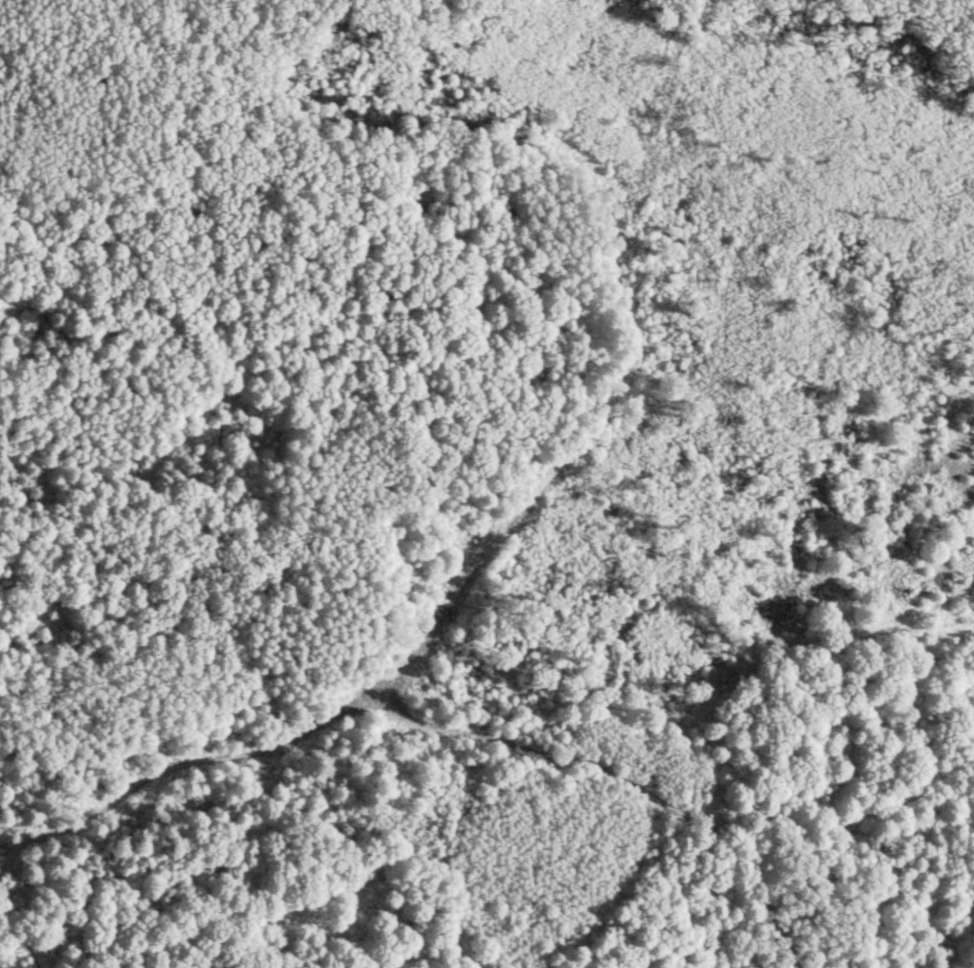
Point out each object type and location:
road: (169, 332)
road: (437, 725)
road: (27, 939)

